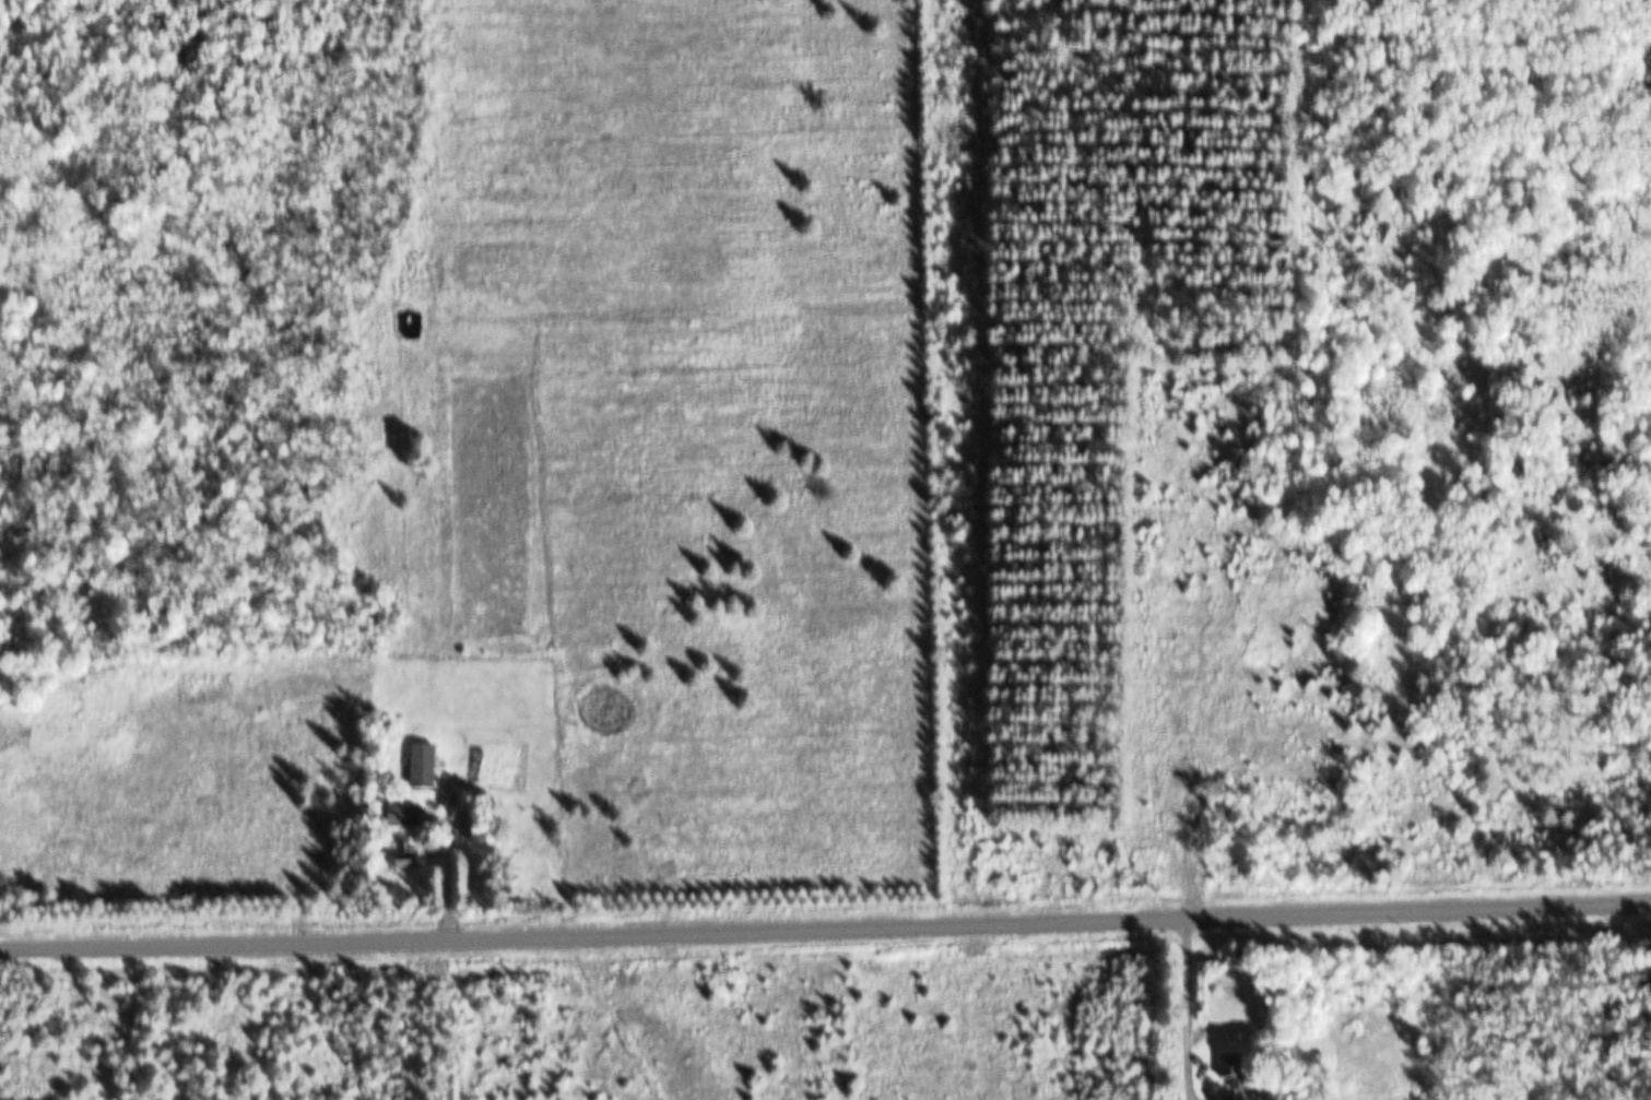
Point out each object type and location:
building: (423, 765)
building: (403, 815)
building: (404, 851)
road: (825, 919)
building: (1233, 1068)
building: (1235, 1097)

